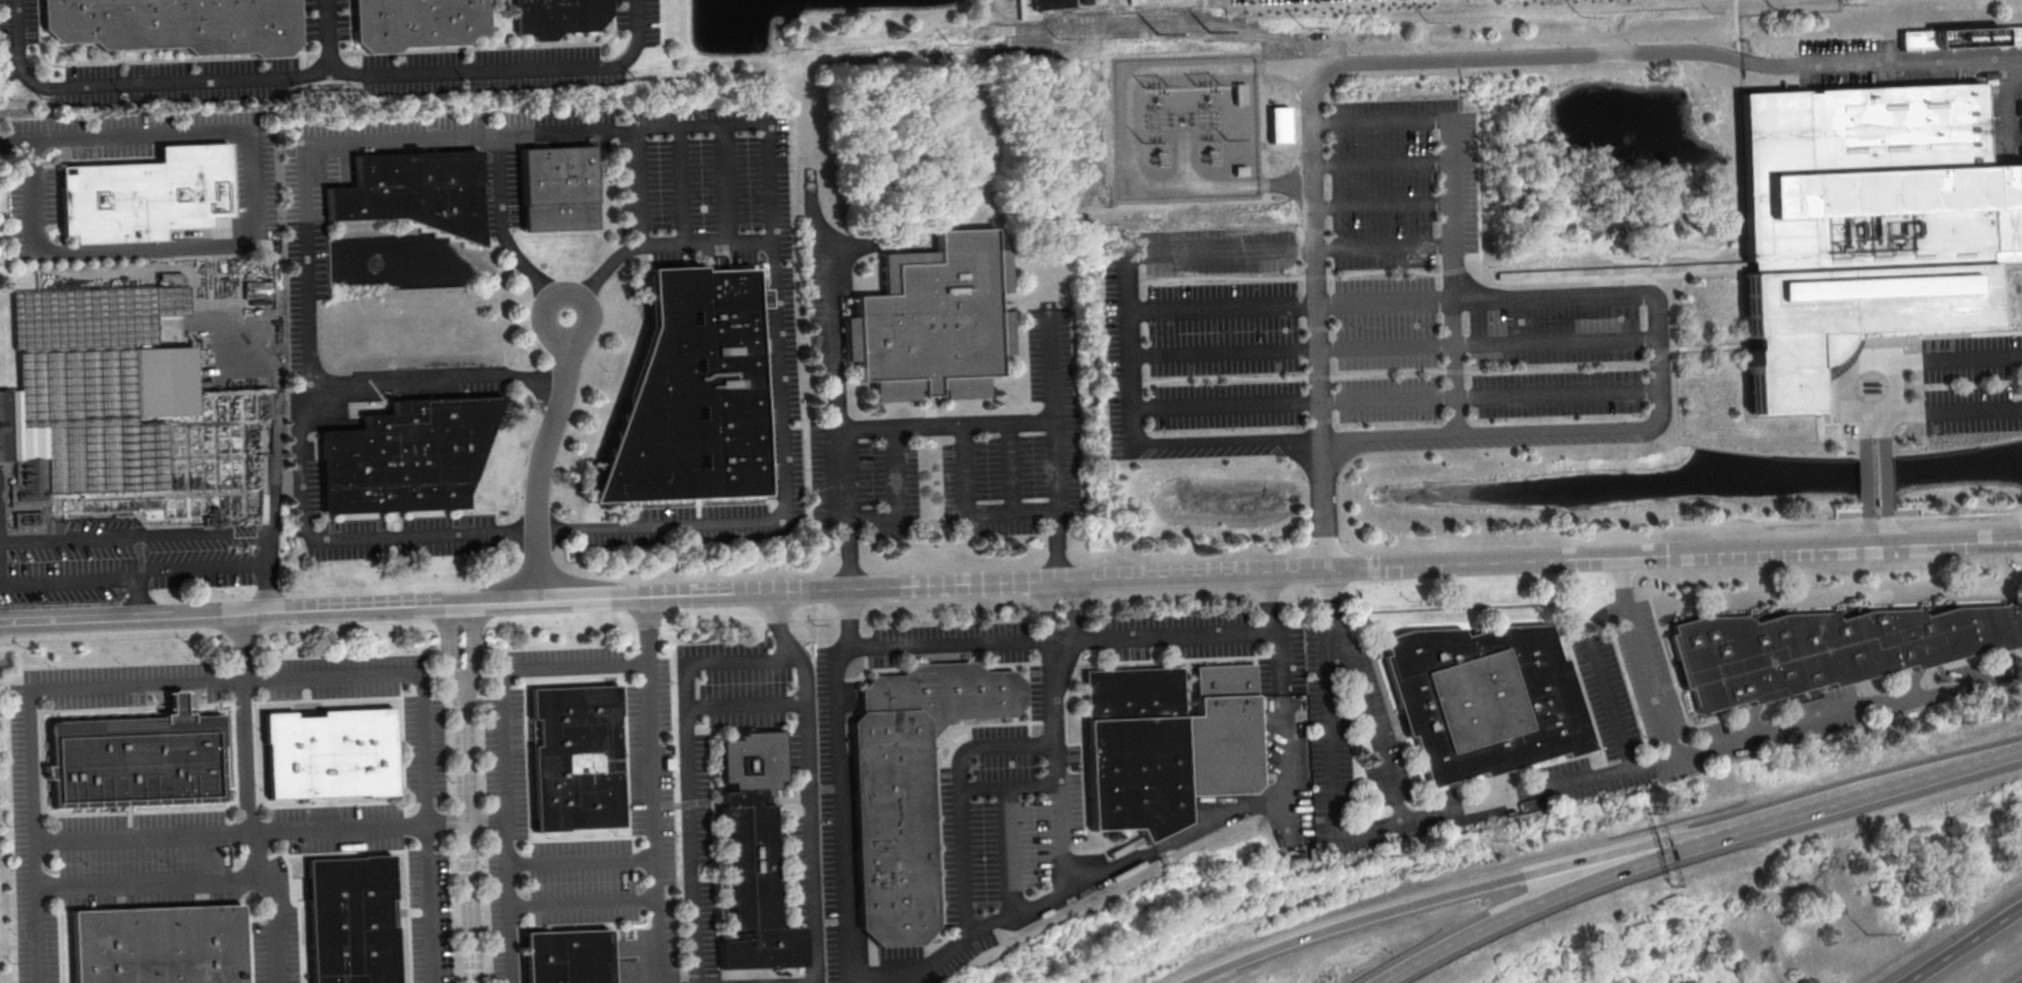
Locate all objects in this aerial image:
parking lot: (1265, 1)
building: (1051, 4)
building: (556, 17)
building: (415, 24)
building: (174, 25)
road: (1736, 28)
building: (1961, 37)
road: (326, 38)
parking lot: (1849, 46)
parking lot: (326, 58)
road: (1881, 62)
road: (315, 76)
parking lot: (1876, 76)
road: (1311, 108)
road: (1299, 111)
road: (1452, 111)
parking lot: (1994, 117)
building: (1278, 124)
power substation: (1185, 126)
road: (1300, 136)
road: (16, 141)
road: (346, 142)
road: (1380, 162)
road: (729, 181)
road: (682, 183)
road: (1227, 183)
building: (556, 190)
building: (413, 194)
building: (142, 197)
road: (1381, 202)
road: (1449, 206)
road: (501, 219)
building: (219, 221)
building: (1864, 223)
road: (258, 232)
road: (642, 239)
road: (1262, 249)
road: (1304, 276)
road: (1493, 280)
road: (1662, 283)
building: (256, 289)
road: (1487, 290)
building: (762, 297)
road: (554, 301)
road: (1392, 304)
parking lot: (1368, 317)
building: (934, 322)
road: (1128, 334)
road: (1708, 345)
road: (1394, 349)
road: (1877, 354)
road: (1958, 360)
road: (1404, 369)
road: (434, 375)
parking lot: (1972, 383)
road: (828, 387)
building: (87, 393)
building: (686, 397)
road: (1396, 401)
road: (1959, 411)
road: (942, 424)
road: (1662, 432)
road: (1416, 434)
road: (1873, 437)
road: (1055, 442)
road: (1698, 445)
road: (274, 447)
building: (404, 458)
road: (547, 458)
road: (1008, 469)
road: (1875, 484)
road: (784, 497)
road: (900, 501)
road: (964, 517)
road: (1835, 519)
road: (1877, 527)
road: (135, 536)
parking lot: (122, 558)
road: (135, 575)
road: (1010, 581)
road: (136, 597)
road: (776, 626)
road: (647, 629)
road: (1073, 629)
road: (1172, 634)
road: (949, 643)
building: (1823, 650)
road: (1597, 655)
road: (404, 670)
road: (1648, 677)
road: (1283, 698)
building: (1482, 701)
road: (745, 705)
road: (1373, 724)
road: (28, 730)
road: (1055, 735)
building: (1165, 744)
road: (506, 754)
building: (325, 756)
building: (573, 759)
building: (131, 763)
road: (688, 764)
road: (840, 782)
road: (1008, 783)
road: (1548, 786)
building: (907, 787)
road: (1868, 789)
road: (465, 794)
road: (960, 795)
road: (247, 800)
road: (809, 818)
road: (468, 820)
road: (653, 823)
road: (229, 829)
road: (1009, 849)
building: (750, 856)
road: (582, 859)
road: (151, 880)
road: (1086, 880)
road: (1444, 894)
road: (1538, 899)
road: (430, 903)
road: (583, 903)
building: (347, 921)
road: (1962, 944)
building: (154, 946)
building: (564, 957)
road: (2019, 981)

